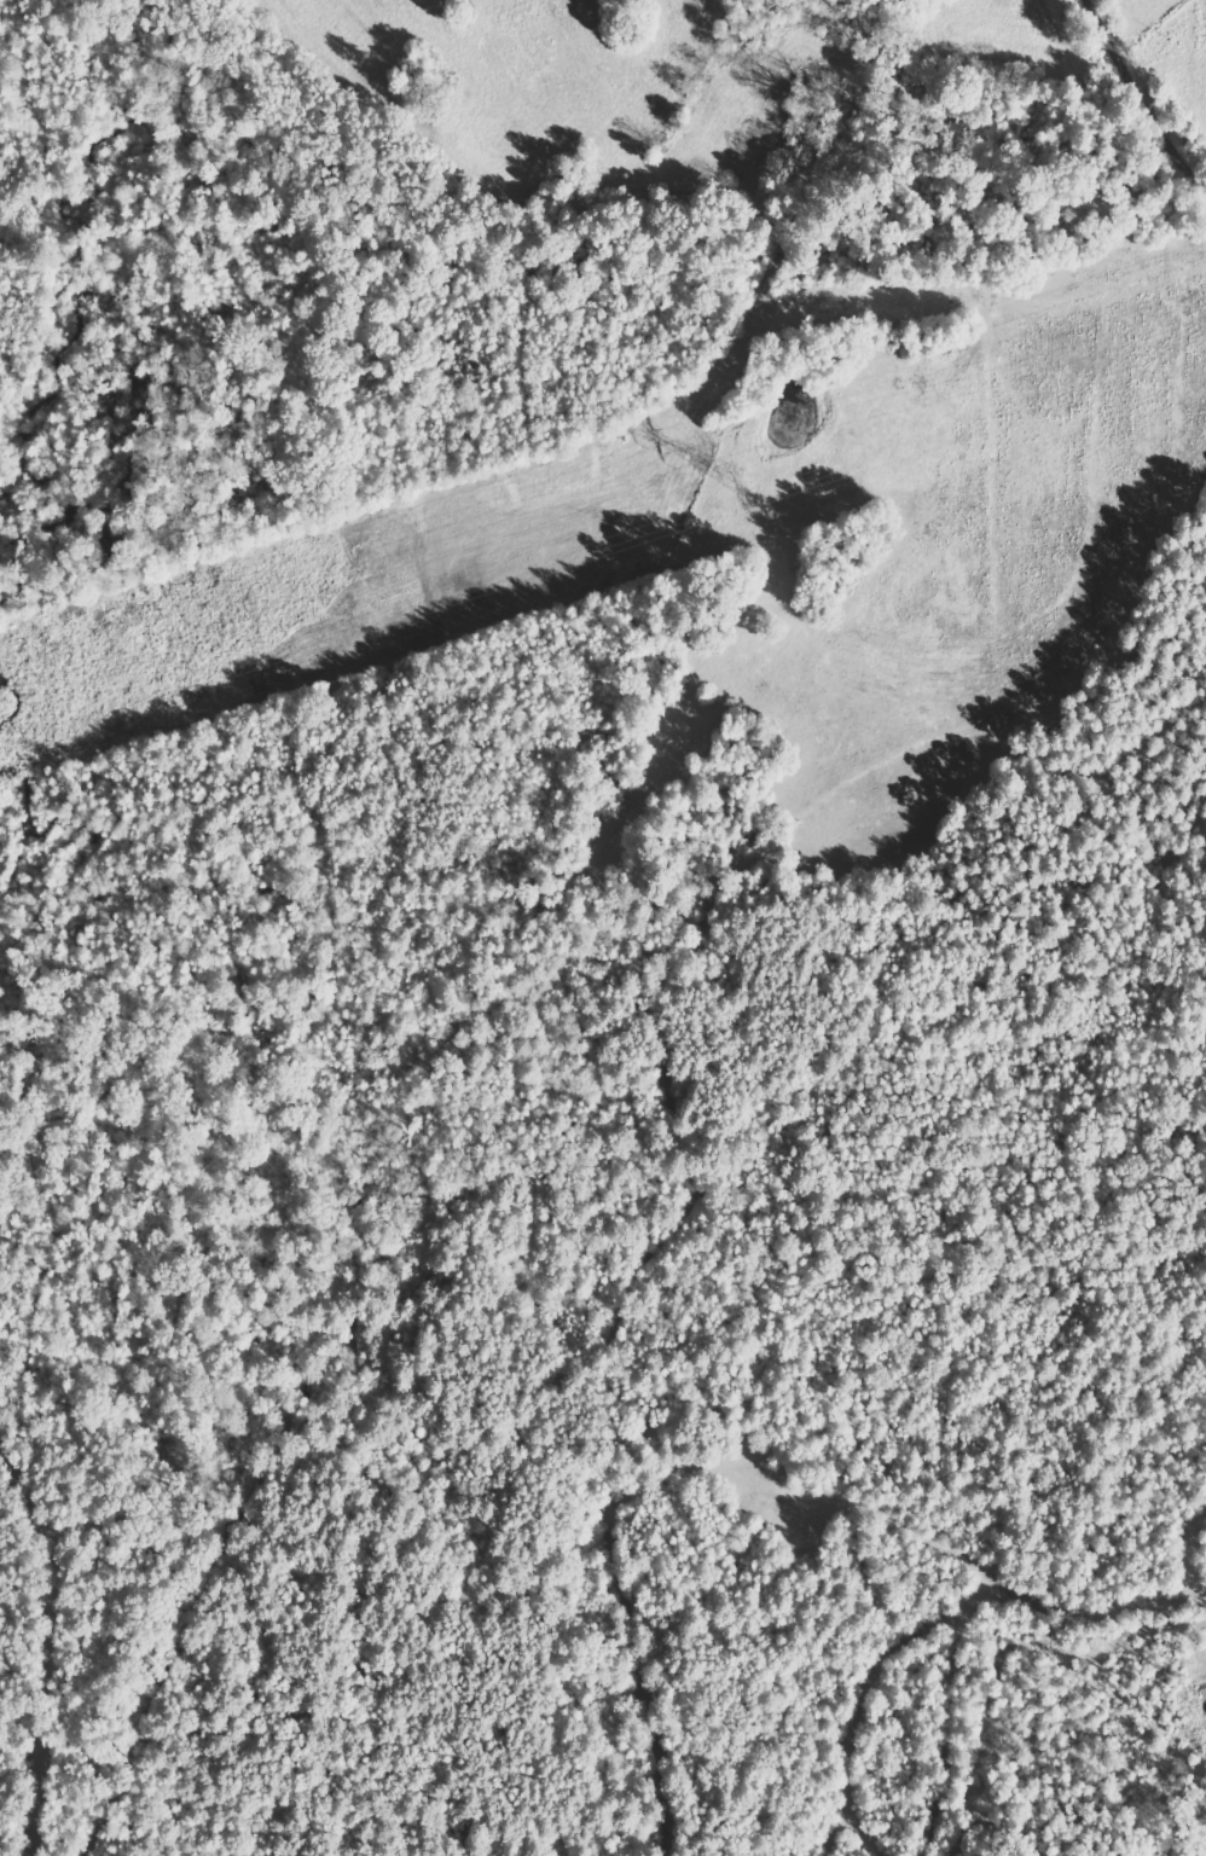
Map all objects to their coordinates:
road: (1121, 120)
power tower: (738, 482)

